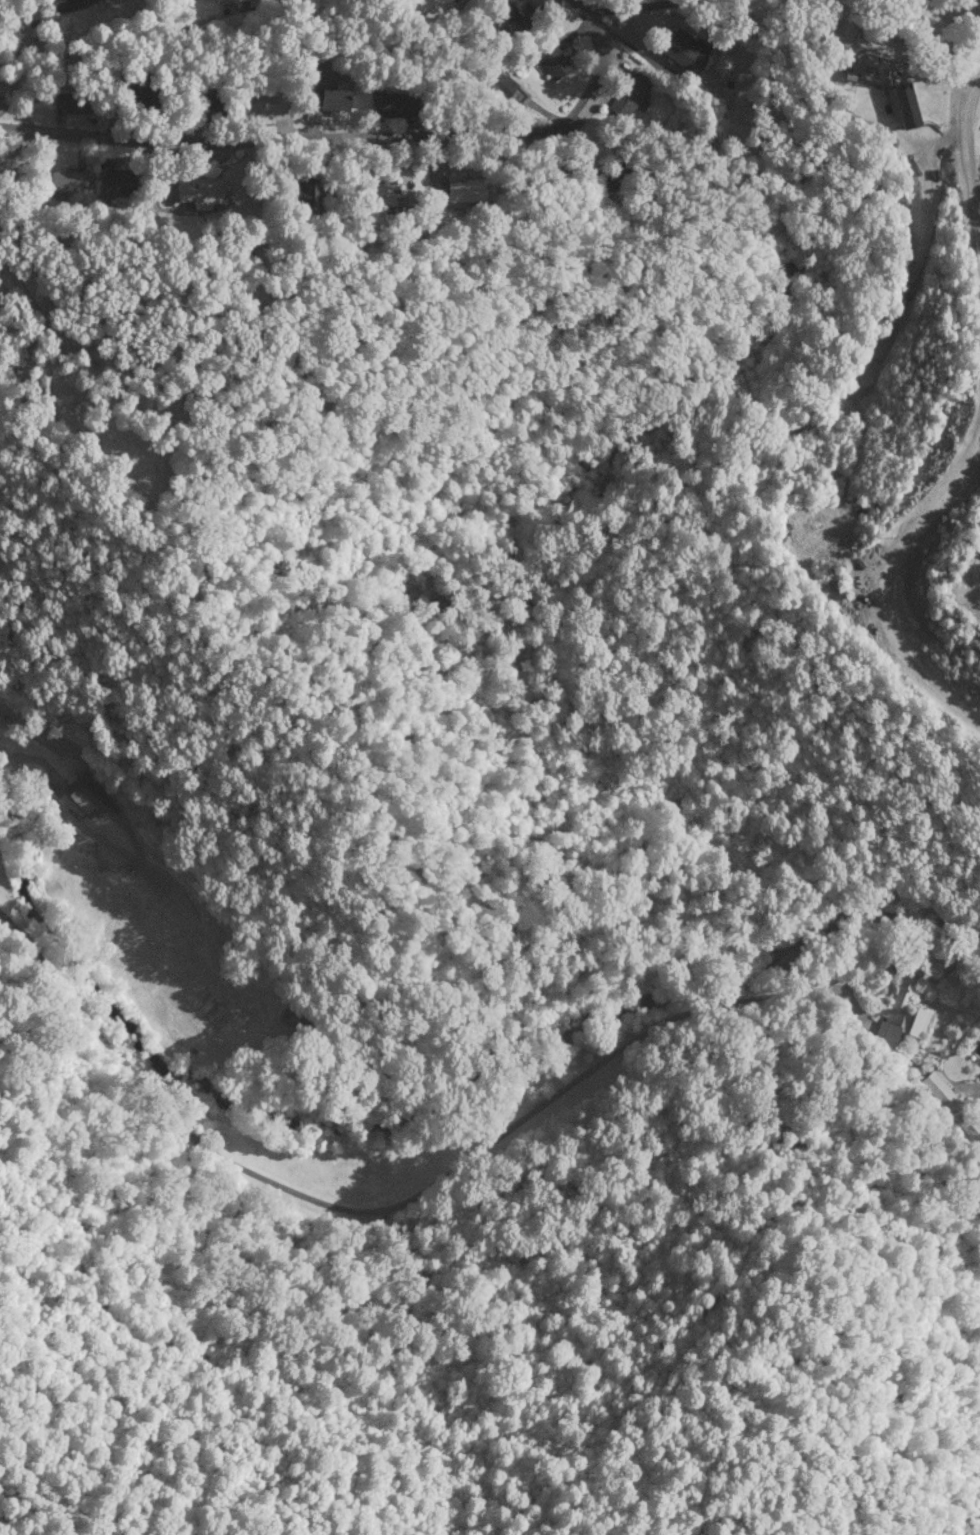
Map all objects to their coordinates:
building: (226, 0)
building: (60, 2)
building: (681, 51)
building: (552, 61)
building: (504, 89)
building: (627, 96)
building: (327, 97)
building: (68, 99)
building: (262, 103)
building: (391, 104)
building: (901, 104)
building: (208, 108)
road: (354, 137)
road: (966, 172)
building: (65, 180)
building: (118, 180)
building: (464, 190)
building: (196, 191)
building: (308, 193)
building: (384, 194)
road: (972, 579)
road: (879, 583)
building: (83, 793)
road: (86, 800)
building: (898, 1014)
building: (288, 1015)
building: (939, 1090)
road: (911, 1129)
road: (480, 1163)

